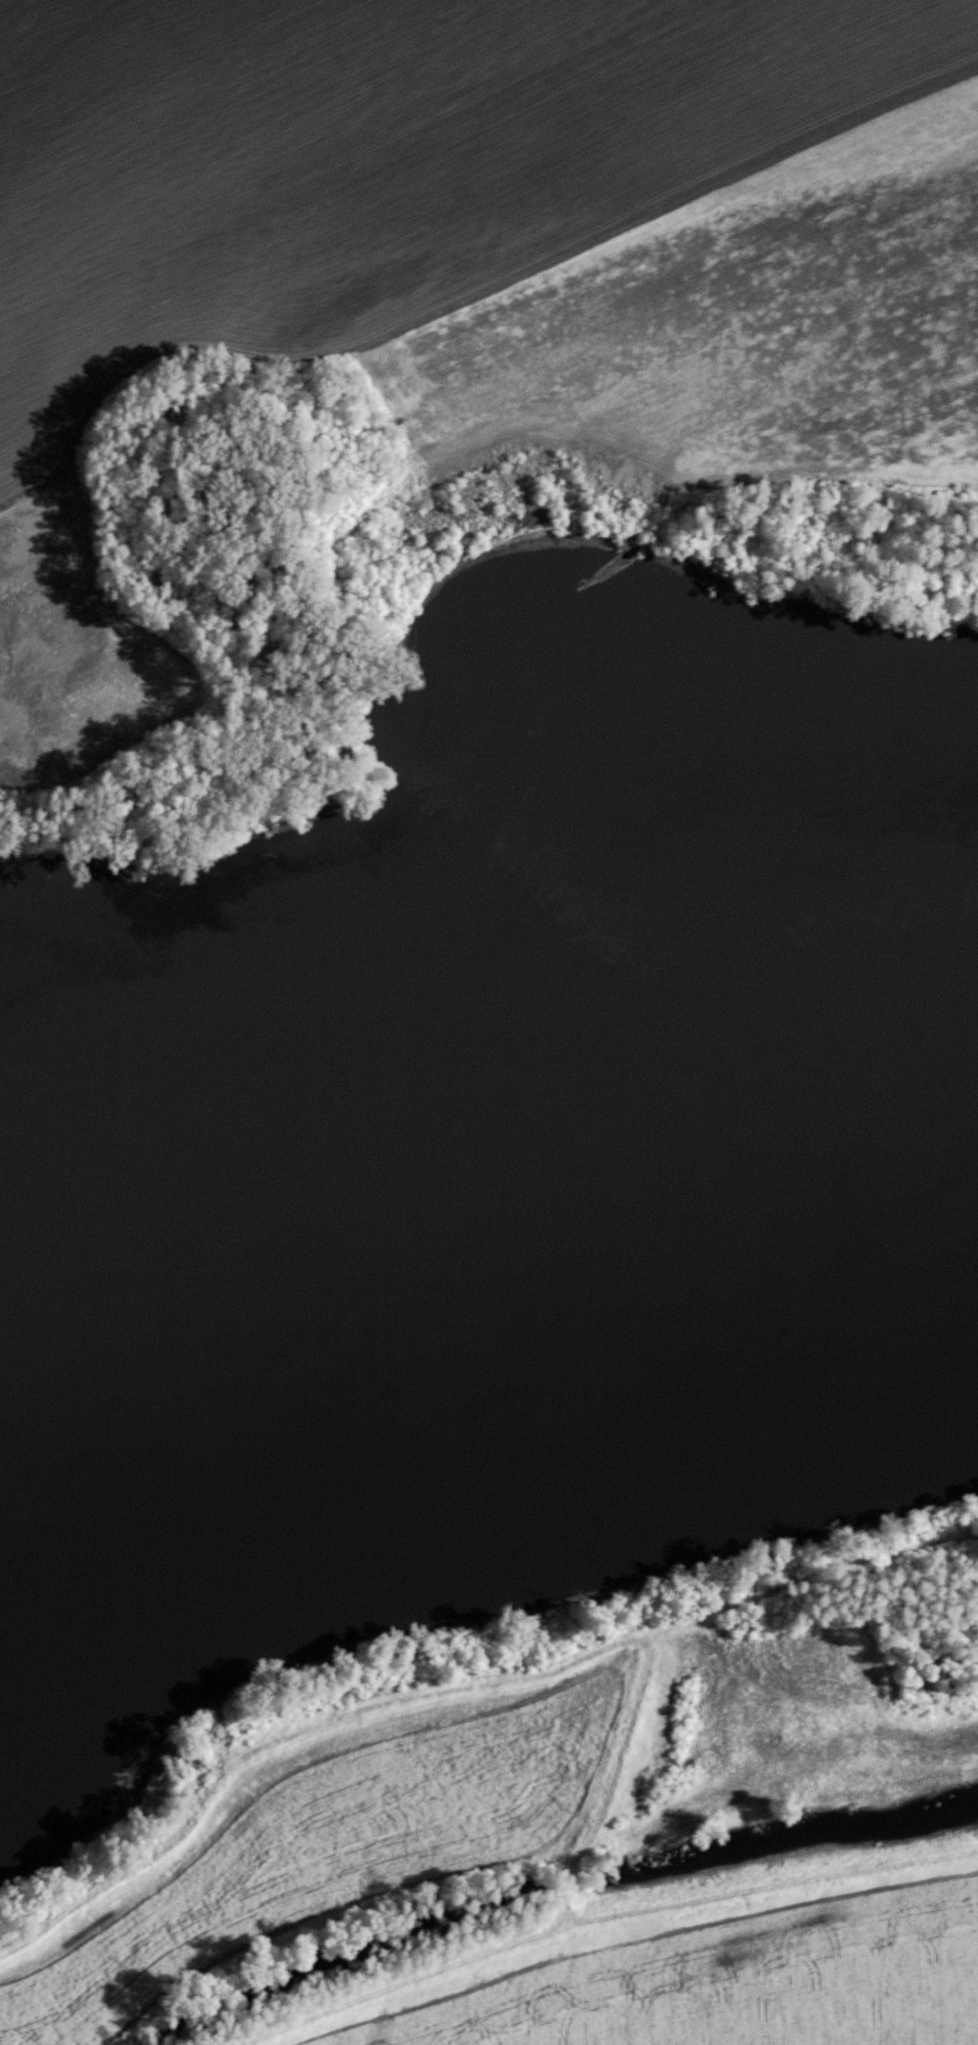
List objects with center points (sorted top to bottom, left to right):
river: (489, 1273)

